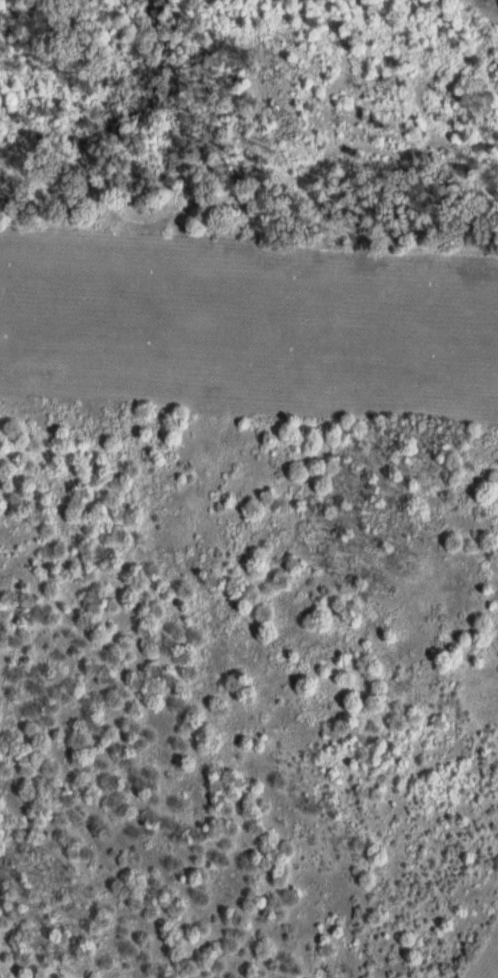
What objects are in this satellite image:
airport: (249, 322)
airport: (486, 966)

